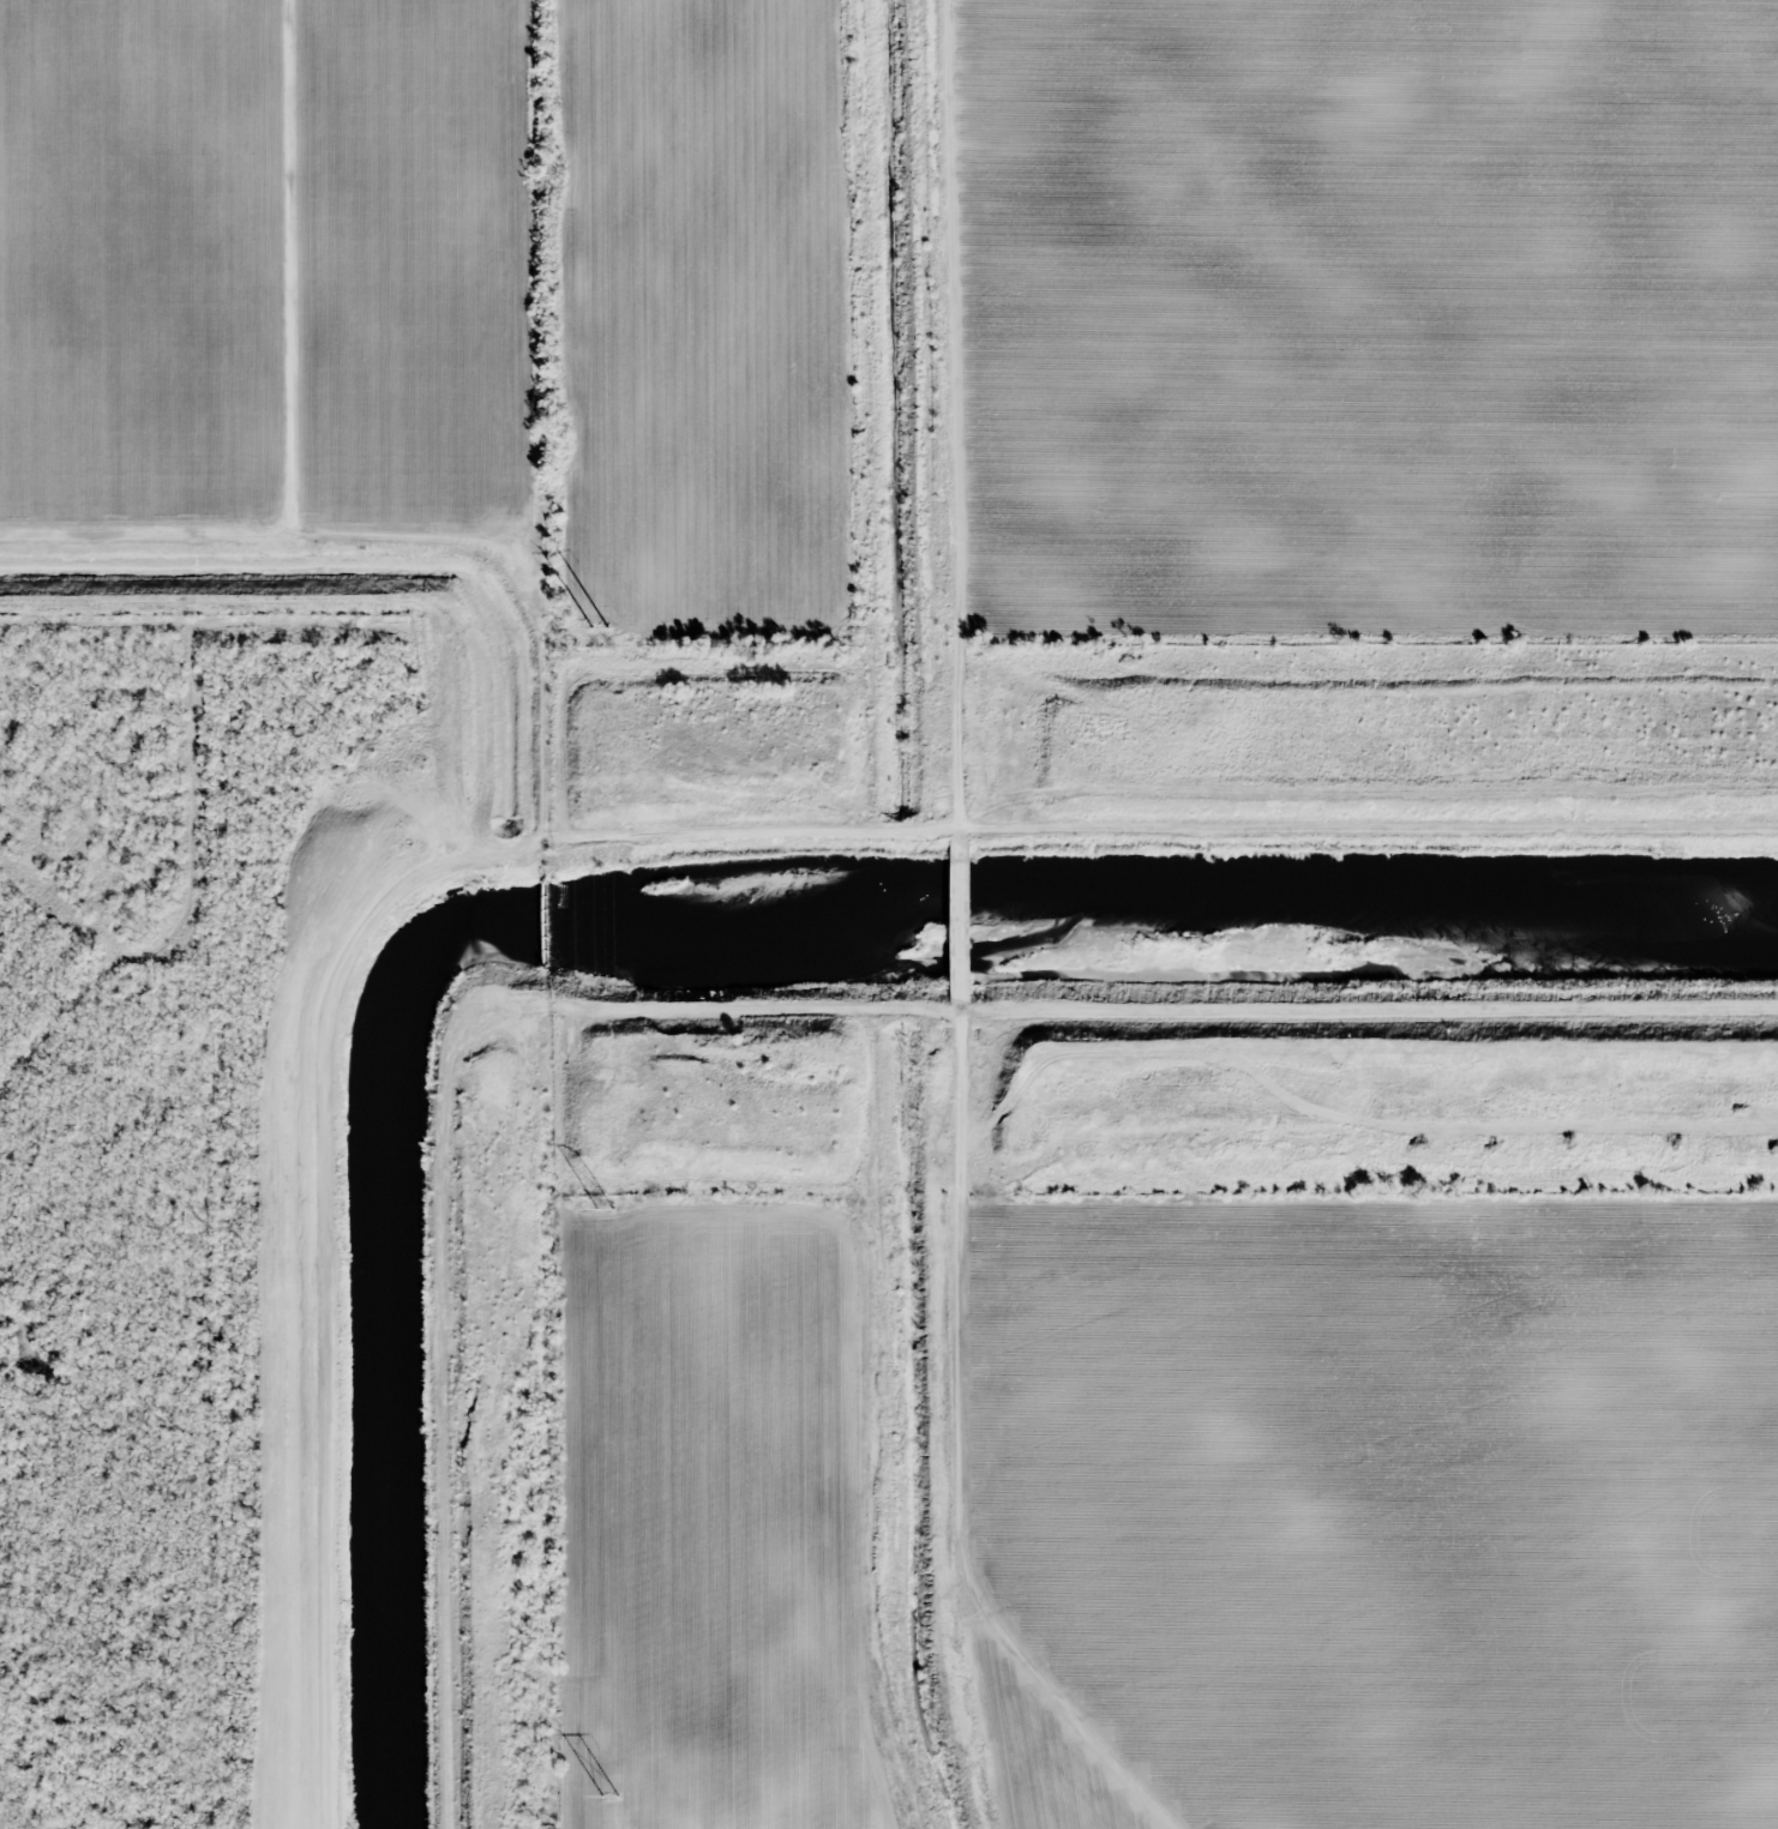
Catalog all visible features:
road: (283, 264)
road: (247, 528)
power tower: (600, 619)
power tower: (603, 1213)
power tower: (608, 1797)

